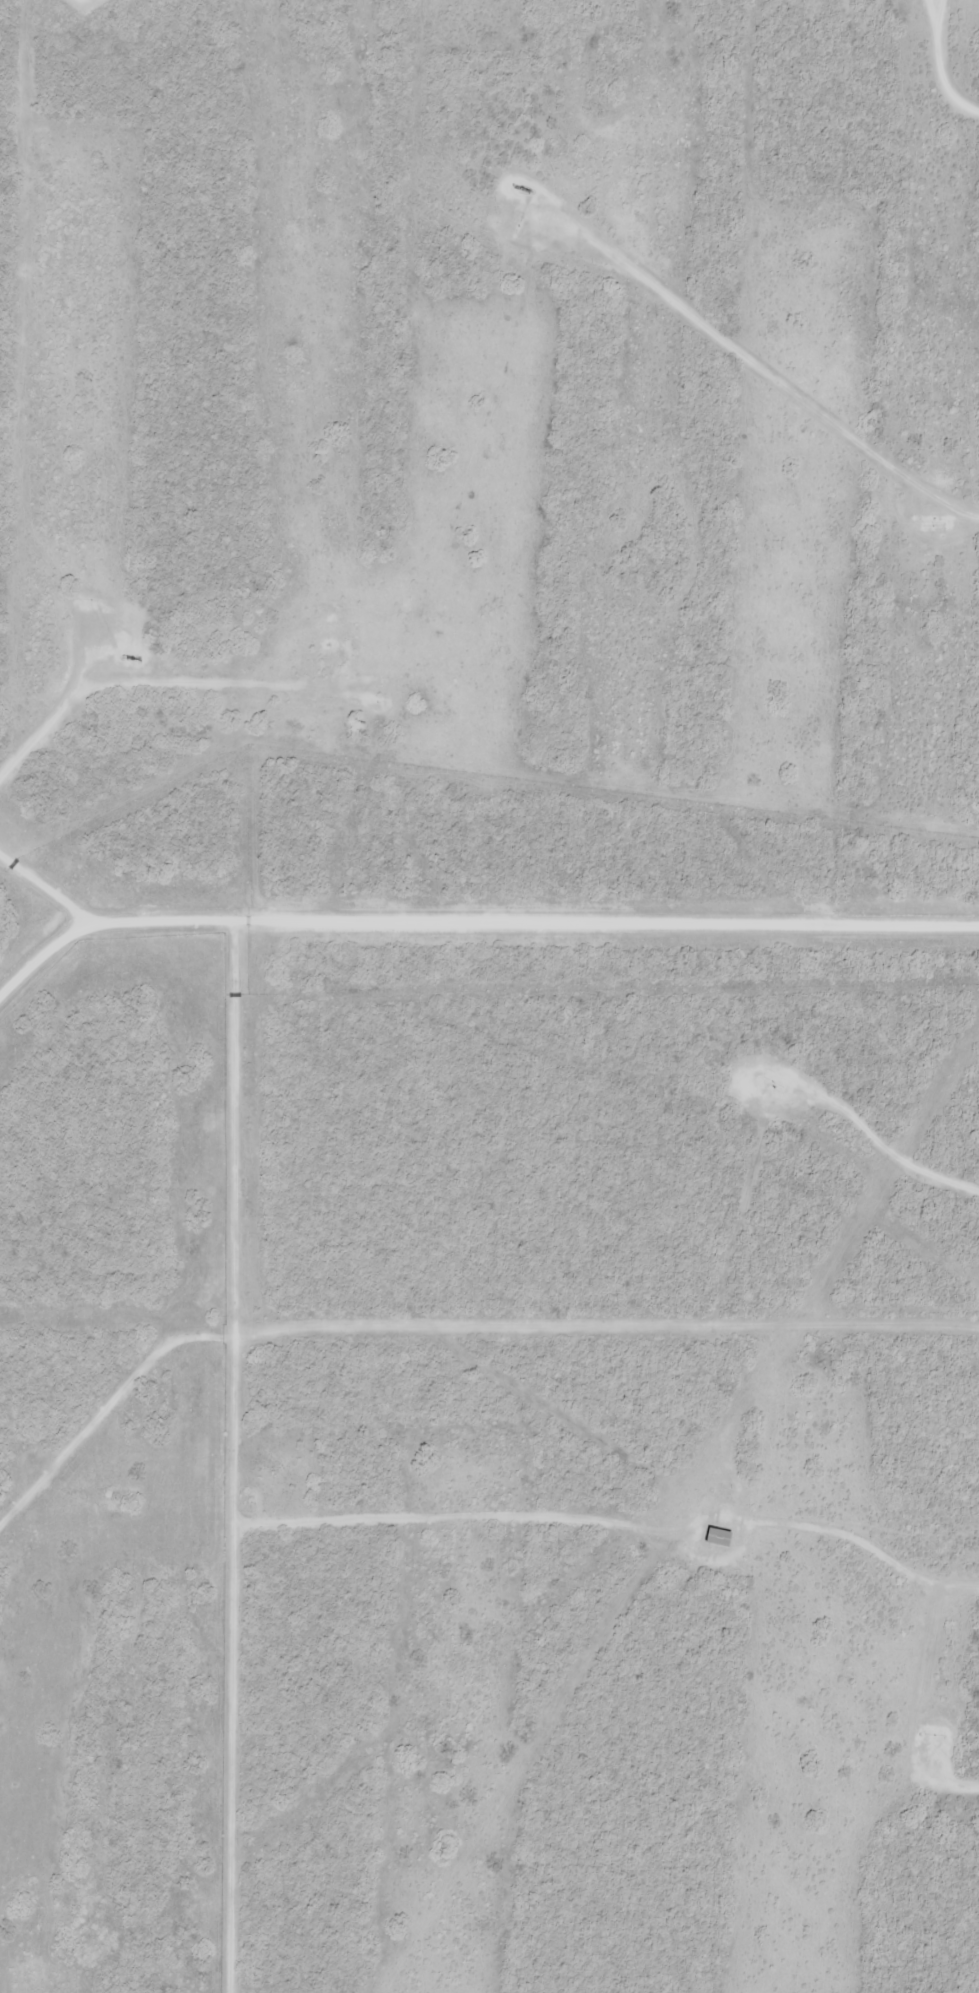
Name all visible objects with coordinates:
road: (477, 924)
building: (718, 1538)

